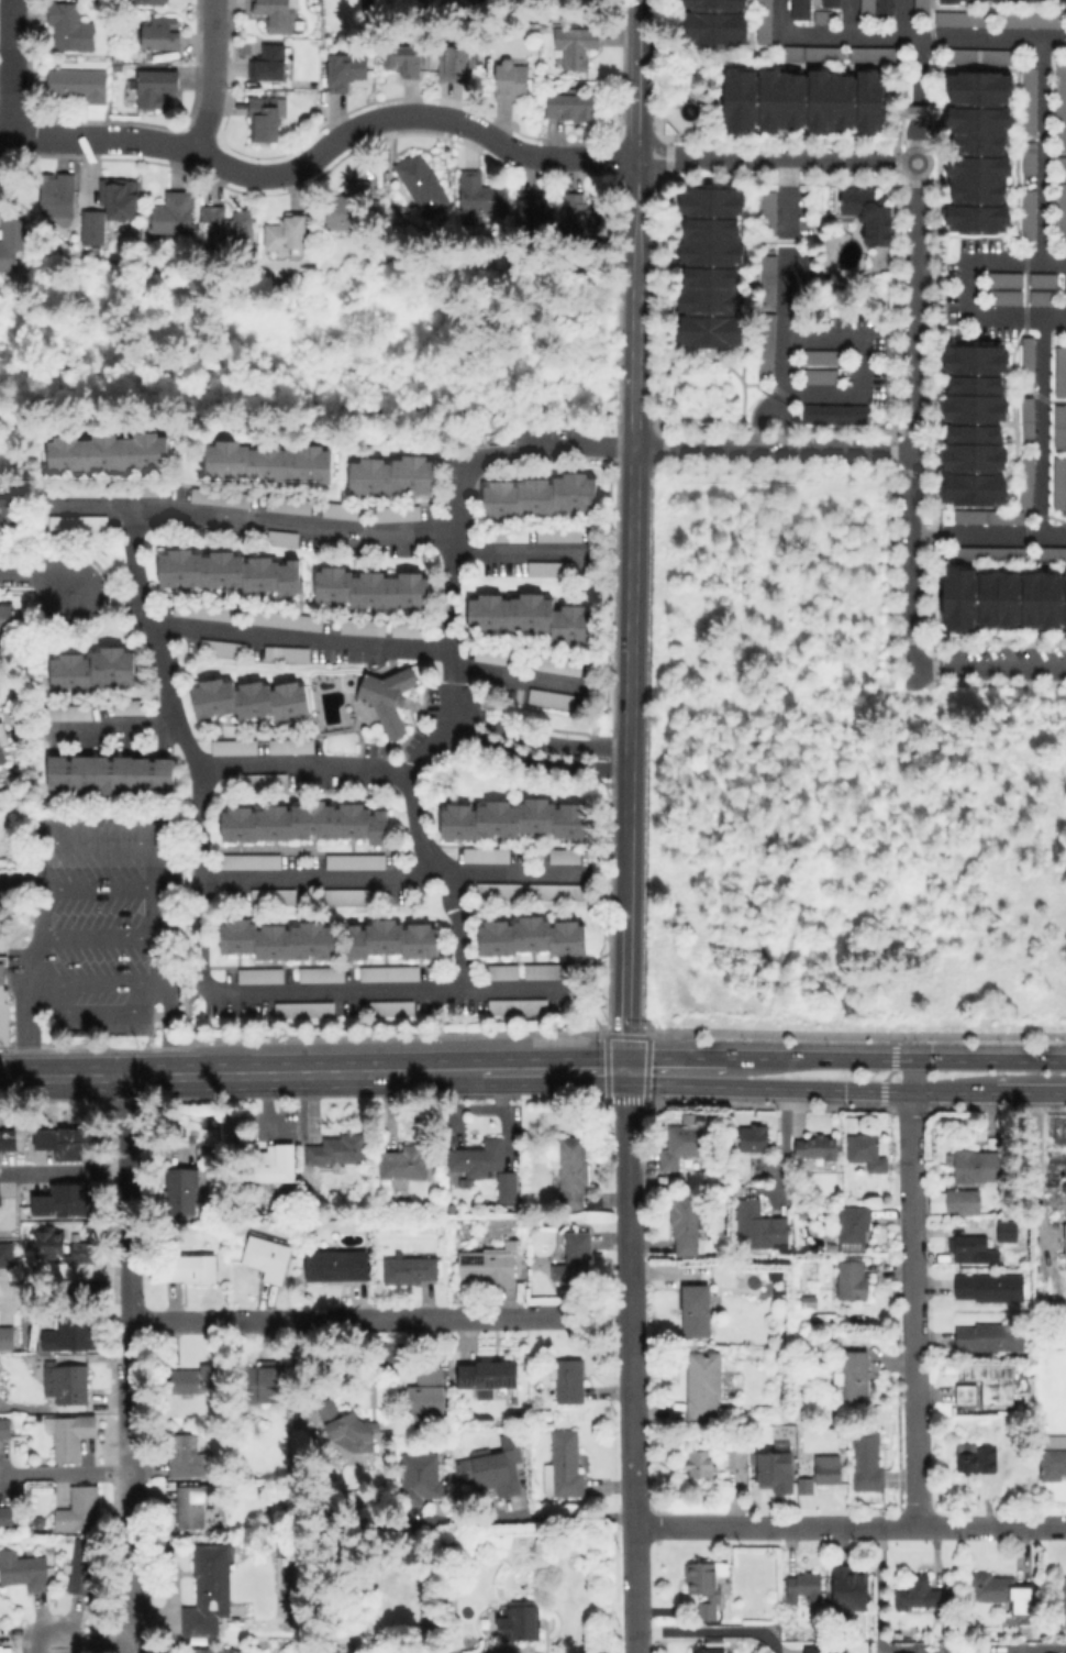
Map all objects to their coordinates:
building: (951, 0)
building: (487, 1)
building: (1061, 1)
building: (157, 2)
building: (828, 2)
building: (713, 3)
building: (367, 4)
building: (919, 4)
building: (865, 7)
building: (882, 8)
building: (798, 9)
building: (276, 14)
road: (852, 18)
road: (906, 19)
building: (997, 19)
building: (759, 20)
building: (712, 26)
building: (70, 27)
building: (162, 34)
road: (907, 37)
building: (576, 44)
building: (814, 55)
building: (876, 55)
building: (984, 56)
building: (408, 60)
building: (269, 63)
building: (456, 65)
building: (118, 68)
road: (919, 68)
building: (346, 71)
road: (9, 73)
road: (215, 76)
building: (511, 79)
road: (639, 79)
building: (78, 84)
building: (312, 88)
building: (157, 89)
building: (804, 101)
building: (1031, 102)
building: (568, 106)
building: (1062, 108)
building: (915, 109)
road: (918, 109)
building: (265, 117)
road: (917, 141)
road: (323, 150)
building: (980, 152)
road: (1045, 152)
building: (1032, 158)
road: (777, 159)
building: (1063, 165)
building: (422, 184)
building: (480, 194)
building: (57, 195)
building: (119, 199)
road: (787, 200)
building: (351, 207)
building: (535, 211)
building: (768, 212)
building: (1062, 212)
building: (171, 213)
building: (868, 216)
building: (1031, 216)
building: (581, 217)
building: (229, 227)
building: (287, 232)
building: (93, 236)
building: (12, 246)
building: (712, 268)
building: (806, 272)
building: (1007, 280)
building: (1044, 282)
building: (770, 283)
road: (969, 290)
building: (1006, 298)
building: (1044, 298)
road: (785, 320)
building: (768, 348)
building: (824, 357)
building: (1029, 363)
road: (858, 364)
building: (1062, 373)
building: (820, 377)
building: (836, 414)
road: (913, 416)
road: (763, 423)
building: (1029, 423)
road: (784, 426)
building: (975, 426)
road: (1043, 428)
building: (1061, 428)
road: (773, 451)
building: (110, 453)
building: (268, 462)
building: (393, 475)
building: (1028, 483)
building: (1061, 484)
building: (78, 489)
building: (135, 489)
rooftop solar panel: (144, 489)
rooftop solar panel: (69, 491)
building: (541, 496)
building: (221, 497)
rooftop solar panel: (203, 498)
building: (290, 505)
building: (346, 511)
building: (399, 515)
building: (12, 516)
building: (990, 518)
rooftop solar panel: (65, 522)
building: (79, 524)
road: (321, 526)
building: (506, 532)
building: (560, 535)
road: (988, 536)
building: (284, 538)
building: (989, 554)
building: (1053, 554)
building: (552, 570)
building: (231, 571)
road: (38, 578)
building: (373, 588)
building: (1001, 598)
building: (203, 611)
road: (630, 615)
building: (533, 616)
building: (7, 617)
building: (286, 619)
building: (364, 628)
building: (408, 630)
road: (300, 636)
building: (222, 648)
building: (287, 653)
road: (452, 653)
building: (499, 657)
building: (559, 665)
road: (993, 669)
building: (92, 670)
road: (519, 676)
building: (549, 697)
building: (388, 698)
building: (251, 699)
building: (129, 707)
building: (70, 713)
road: (113, 726)
building: (1, 736)
road: (535, 740)
building: (291, 746)
building: (236, 747)
building: (2, 754)
road: (307, 763)
road: (532, 767)
building: (111, 774)
building: (265, 781)
building: (515, 818)
building: (298, 824)
building: (487, 856)
building: (565, 857)
building: (253, 861)
building: (356, 862)
road: (396, 877)
road: (99, 888)
building: (501, 891)
building: (557, 891)
building: (347, 895)
building: (275, 896)
road: (207, 928)
building: (534, 936)
building: (370, 939)
road: (100, 940)
building: (279, 940)
building: (422, 943)
road: (36, 958)
building: (506, 971)
building: (547, 971)
building: (391, 973)
building: (262, 974)
building: (323, 974)
road: (98, 980)
road: (164, 981)
building: (519, 1006)
building: (391, 1007)
building: (3, 1009)
building: (302, 1010)
road: (674, 1057)
road: (896, 1060)
road: (554, 1071)
traffic signals: (625, 1071)
road: (448, 1072)
road: (269, 1075)
road: (889, 1076)
road: (62, 1078)
road: (809, 1089)
road: (1031, 1093)
building: (754, 1137)
building: (7, 1139)
building: (691, 1140)
building: (64, 1142)
building: (815, 1146)
building: (336, 1149)
building: (866, 1151)
building: (478, 1157)
building: (274, 1164)
building: (403, 1164)
road: (1036, 1165)
building: (975, 1166)
road: (64, 1169)
building: (571, 1171)
building: (507, 1184)
building: (1065, 1184)
building: (181, 1191)
building: (60, 1200)
road: (127, 1201)
building: (963, 1201)
building: (803, 1211)
road: (911, 1220)
building: (684, 1224)
building: (852, 1226)
building: (762, 1228)
building: (1007, 1231)
building: (1065, 1236)
building: (49, 1247)
building: (971, 1249)
building: (4, 1254)
building: (267, 1257)
building: (574, 1257)
building: (489, 1264)
building: (336, 1265)
building: (190, 1267)
building: (410, 1269)
building: (852, 1280)
building: (989, 1287)
road: (67, 1289)
building: (696, 1310)
road: (381, 1320)
building: (68, 1334)
building: (989, 1336)
building: (7, 1337)
road: (633, 1362)
building: (488, 1375)
building: (853, 1375)
rooftop solar panel: (476, 1377)
rooftop solar panel: (507, 1377)
building: (191, 1378)
building: (568, 1379)
building: (67, 1382)
building: (258, 1382)
building: (992, 1382)
building: (702, 1384)
building: (425, 1392)
building: (965, 1393)
building: (296, 1400)
building: (5, 1426)
building: (347, 1428)
building: (69, 1434)
road: (913, 1436)
building: (1052, 1441)
building: (188, 1456)
building: (734, 1458)
building: (975, 1458)
building: (866, 1462)
building: (700, 1463)
building: (1052, 1464)
building: (564, 1465)
building: (496, 1466)
building: (460, 1468)
road: (65, 1469)
building: (774, 1470)
building: (828, 1473)
building: (421, 1478)
building: (804, 1485)
road: (131, 1489)
building: (190, 1506)
building: (79, 1509)
building: (5, 1516)
road: (554, 1517)
road: (691, 1525)
road: (907, 1525)
building: (82, 1566)
building: (26, 1571)
building: (706, 1585)
building: (803, 1587)
building: (209, 1588)
road: (874, 1588)
building: (851, 1591)
building: (1002, 1591)
building: (920, 1596)
building: (1063, 1606)
building: (519, 1622)
road: (91, 1646)
building: (710, 1648)
building: (326, 1650)
road: (514, 1650)
building: (213, 1651)
building: (396, 1652)

